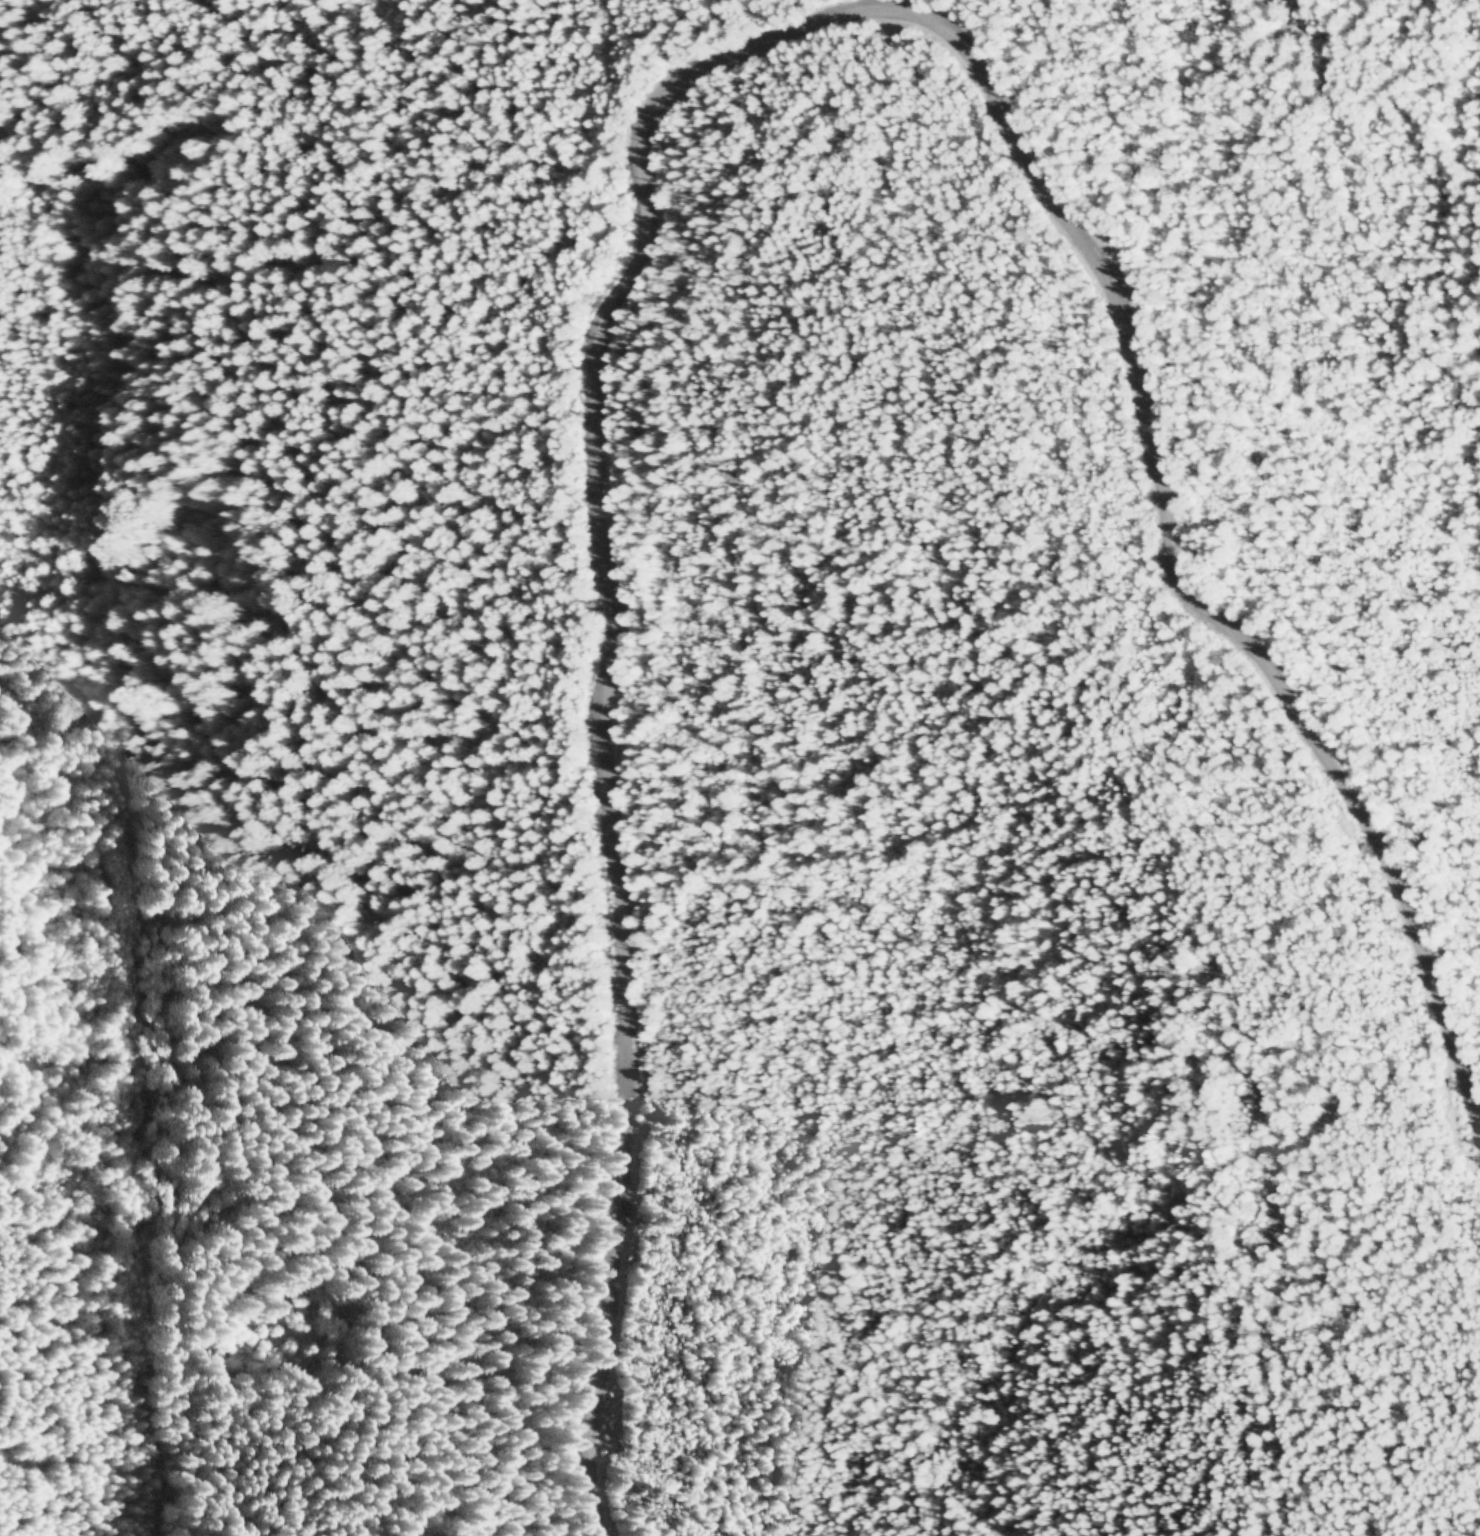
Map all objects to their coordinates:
road: (696, 61)

